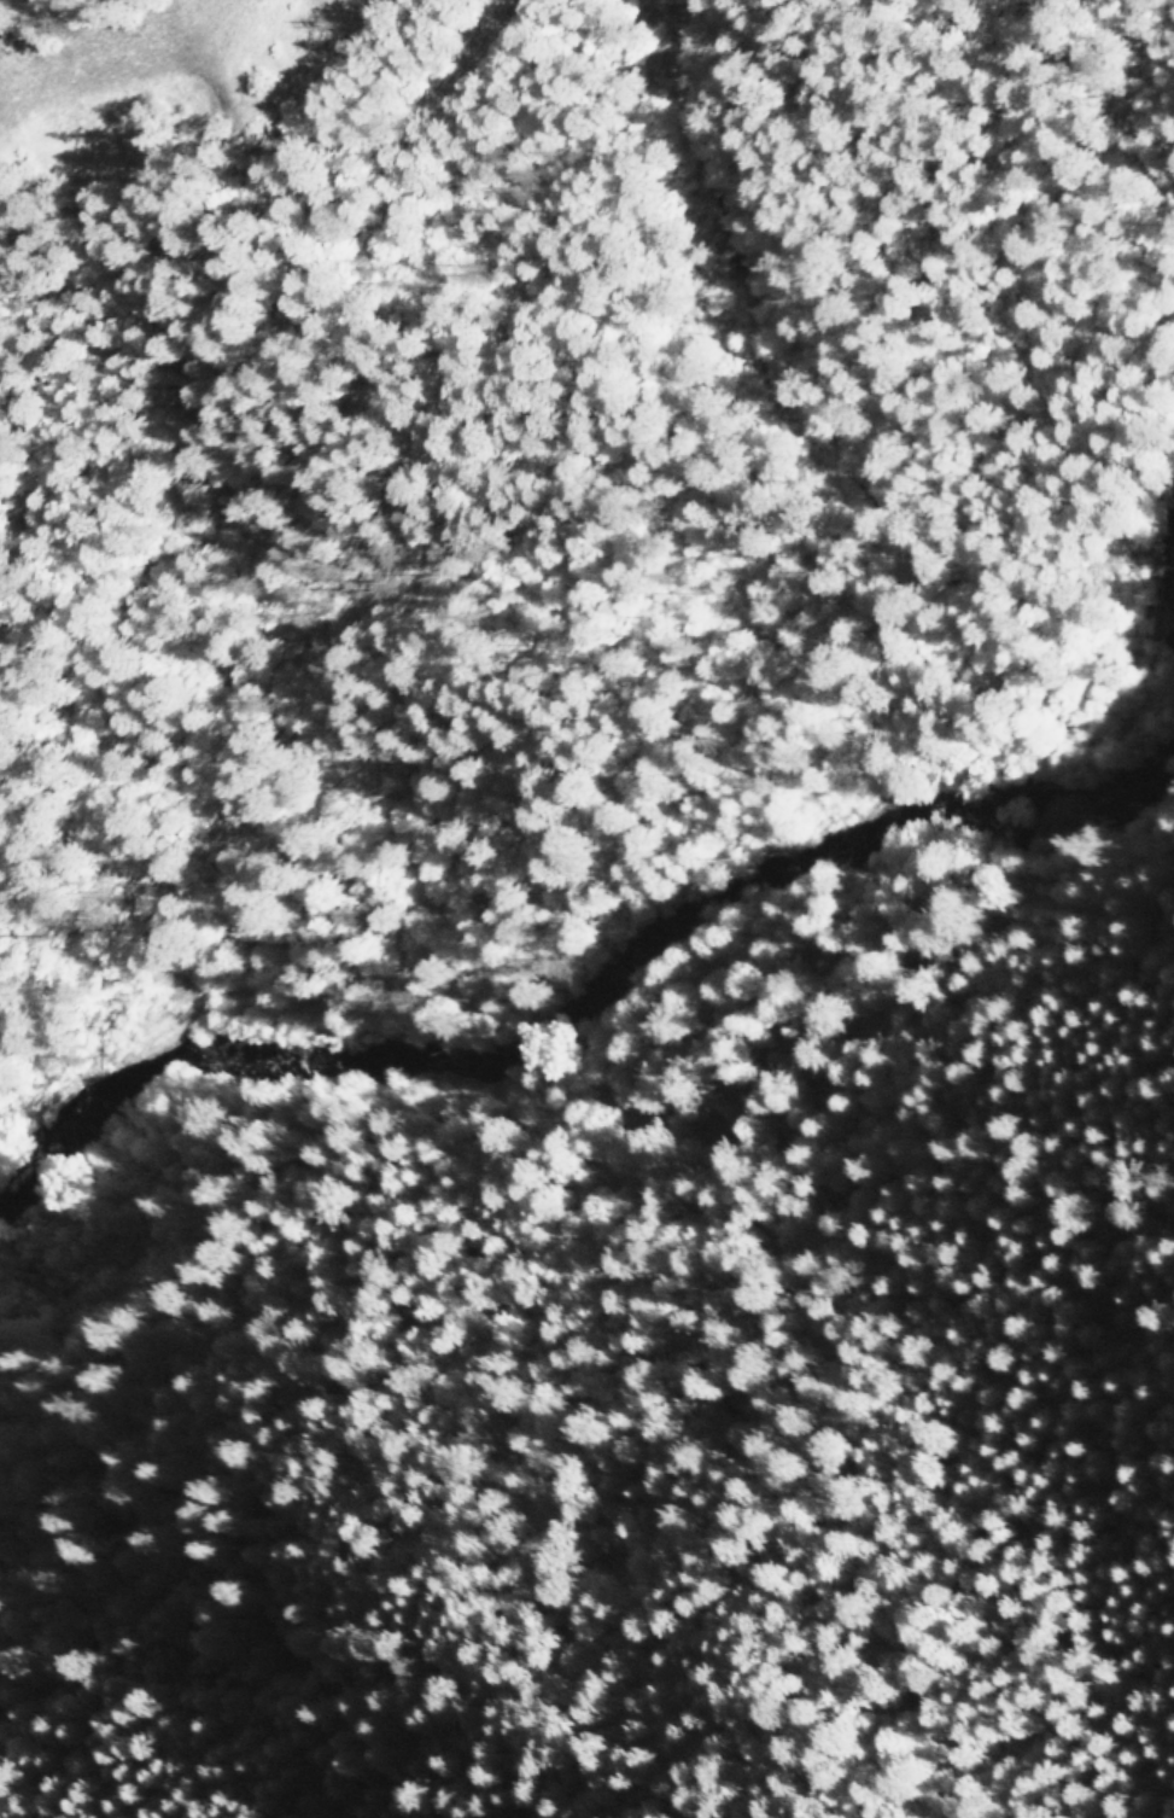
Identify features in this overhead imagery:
river: (652, 925)

